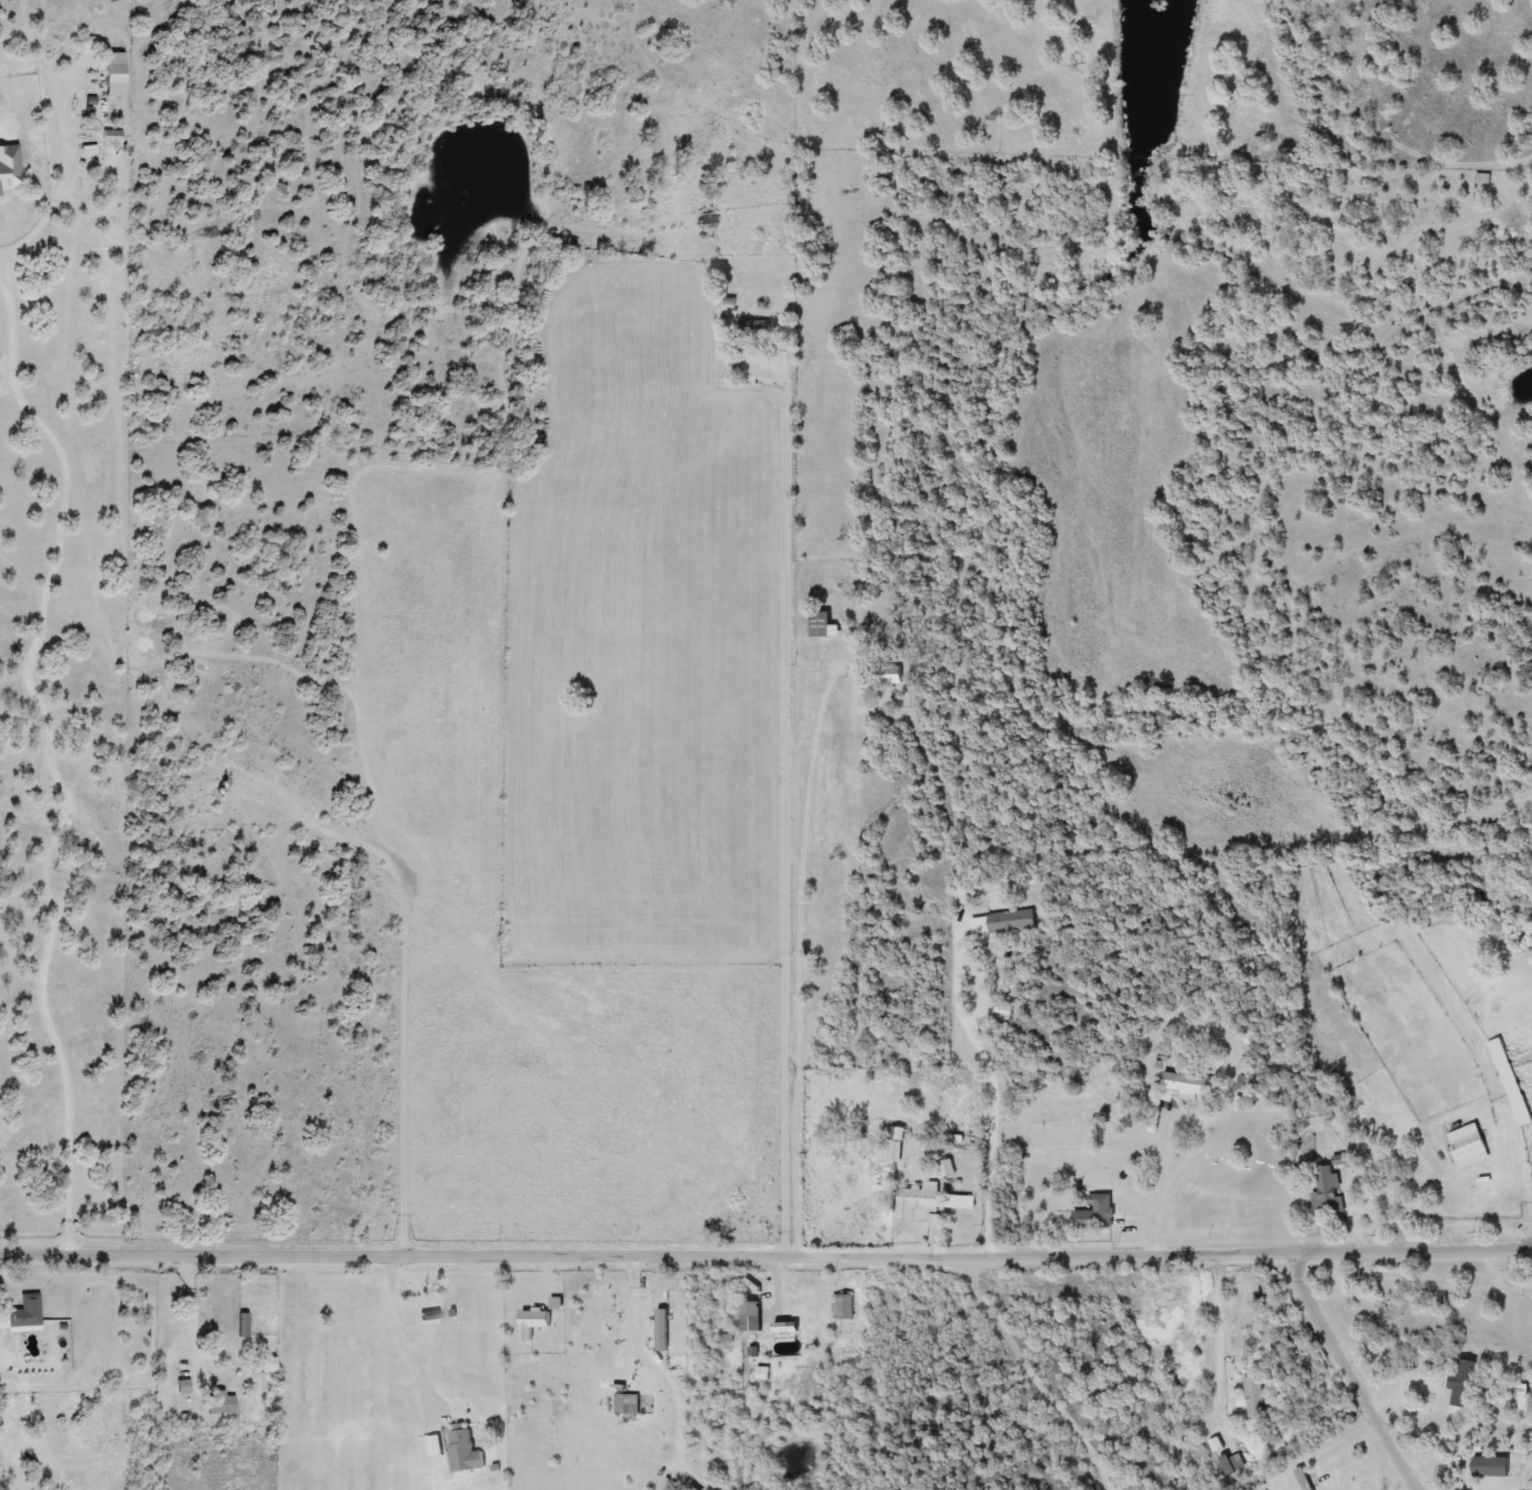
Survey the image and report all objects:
building: (116, 74)
building: (10, 168)
building: (707, 220)
building: (755, 330)
building: (822, 624)
road: (842, 692)
road: (51, 755)
road: (790, 803)
building: (962, 897)
building: (1003, 922)
road: (828, 988)
road: (843, 1007)
road: (1480, 1050)
road: (408, 1076)
road: (998, 1080)
building: (1511, 1082)
building: (1187, 1084)
building: (836, 1136)
building: (896, 1144)
building: (1470, 1146)
road: (1171, 1148)
building: (946, 1169)
building: (1328, 1192)
building: (919, 1204)
building: (1096, 1214)
road: (1160, 1215)
road: (765, 1252)
road: (779, 1291)
building: (844, 1307)
building: (23, 1315)
building: (430, 1316)
road: (190, 1317)
building: (535, 1322)
building: (755, 1323)
building: (664, 1330)
road: (1221, 1339)
building: (268, 1365)
road: (1035, 1373)
road: (1350, 1373)
building: (802, 1382)
building: (182, 1383)
building: (1465, 1383)
building: (1254, 1397)
building: (1524, 1400)
building: (220, 1404)
building: (628, 1404)
building: (434, 1446)
building: (465, 1452)
building: (1233, 1464)
building: (1489, 1466)
building: (1303, 1479)

